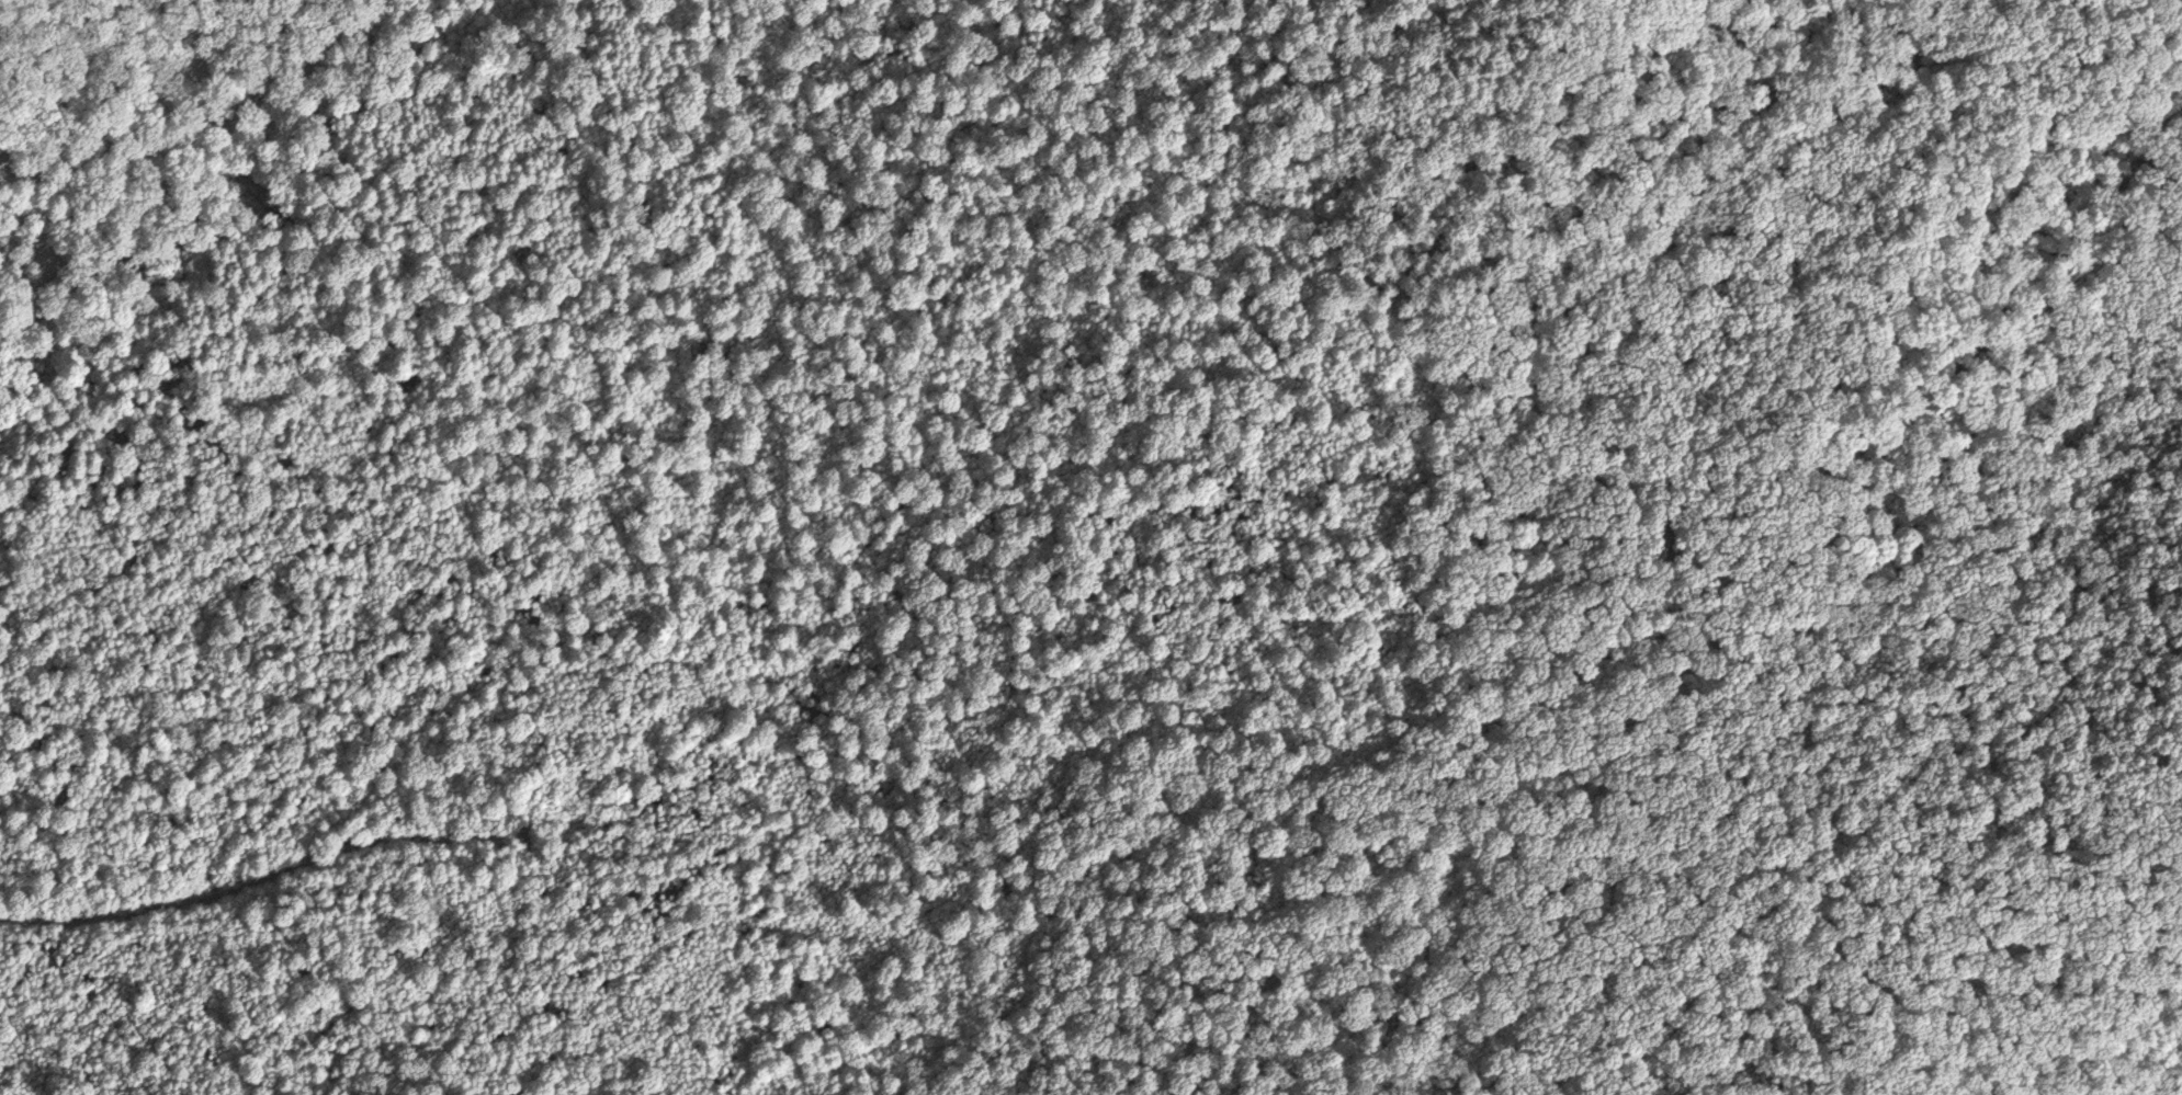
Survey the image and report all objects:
road: (1116, 401)
road: (301, 865)

